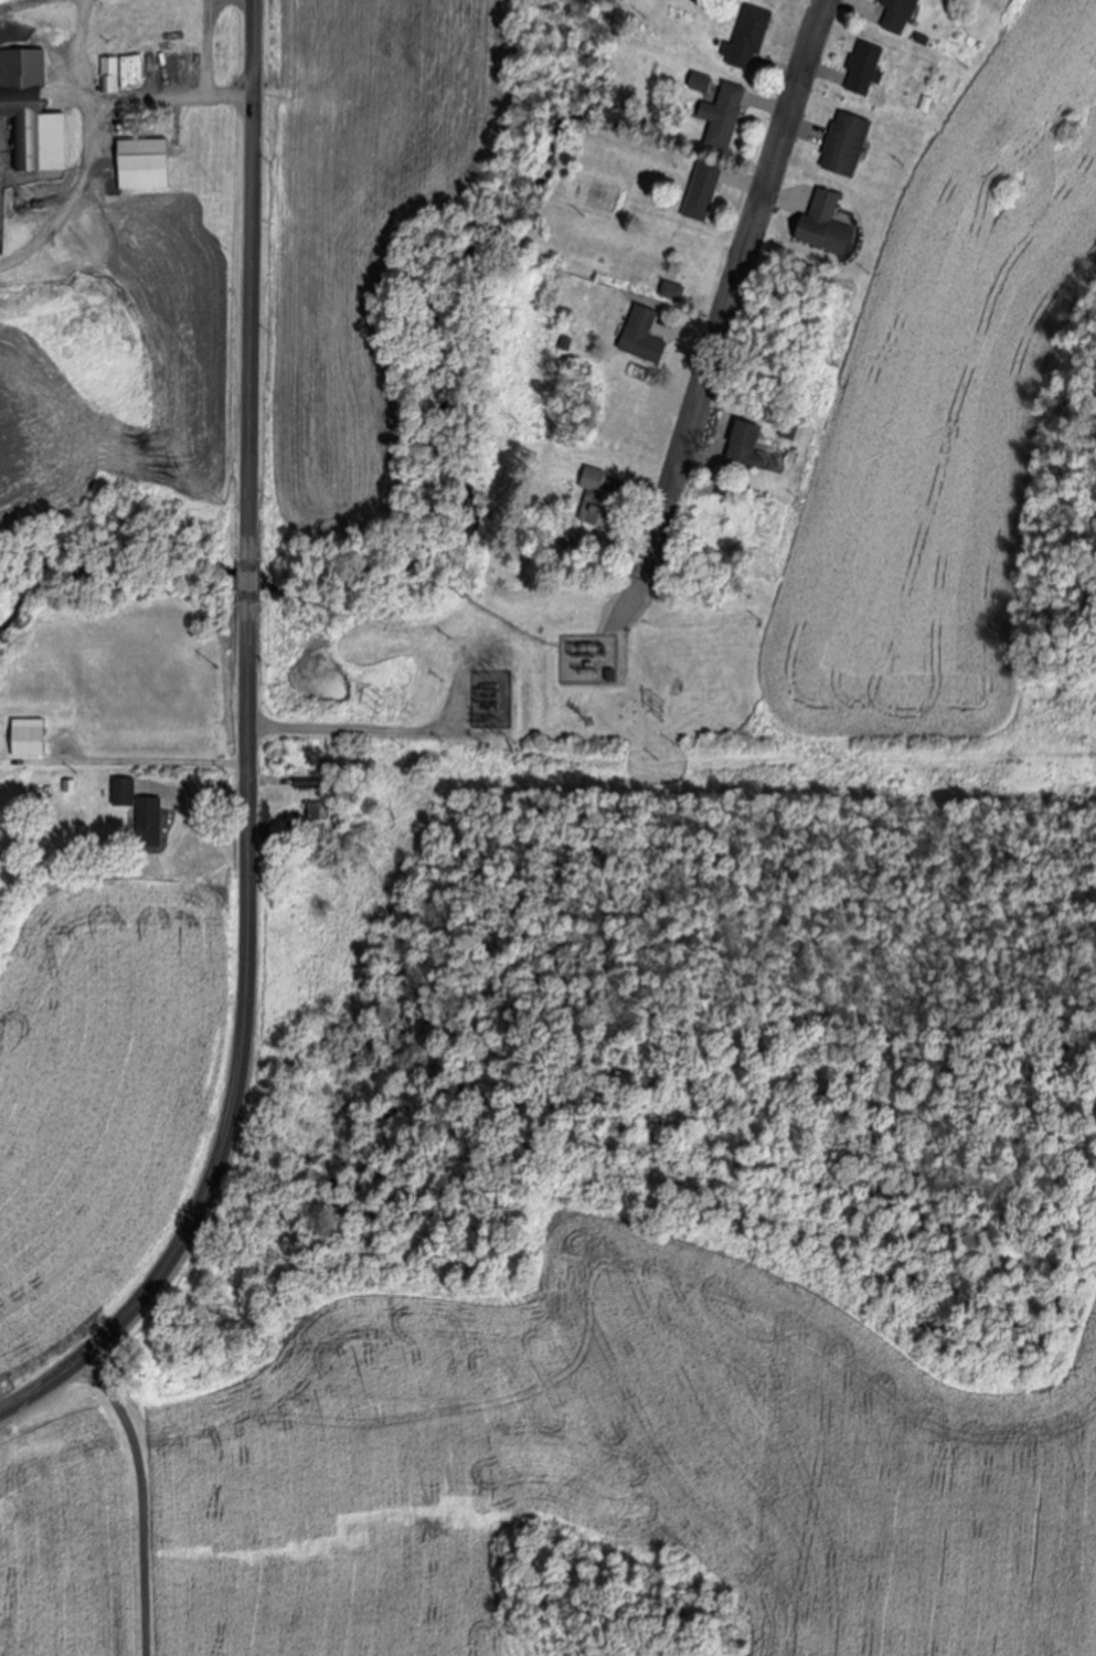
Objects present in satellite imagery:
building: (2, 1)
building: (896, 14)
building: (163, 21)
building: (751, 38)
road: (212, 47)
building: (168, 66)
building: (865, 67)
building: (107, 74)
building: (702, 82)
road: (172, 96)
building: (31, 113)
building: (726, 116)
building: (848, 142)
road: (91, 152)
building: (143, 163)
building: (704, 190)
building: (827, 222)
road: (719, 320)
building: (645, 335)
building: (749, 445)
building: (596, 499)
power substation: (490, 699)
power tower: (379, 704)
power tower: (660, 710)
power tower: (586, 719)
power tower: (502, 728)
road: (361, 733)
building: (31, 740)
road: (248, 752)
building: (125, 792)
road: (195, 802)
building: (151, 821)
road: (137, 1499)

